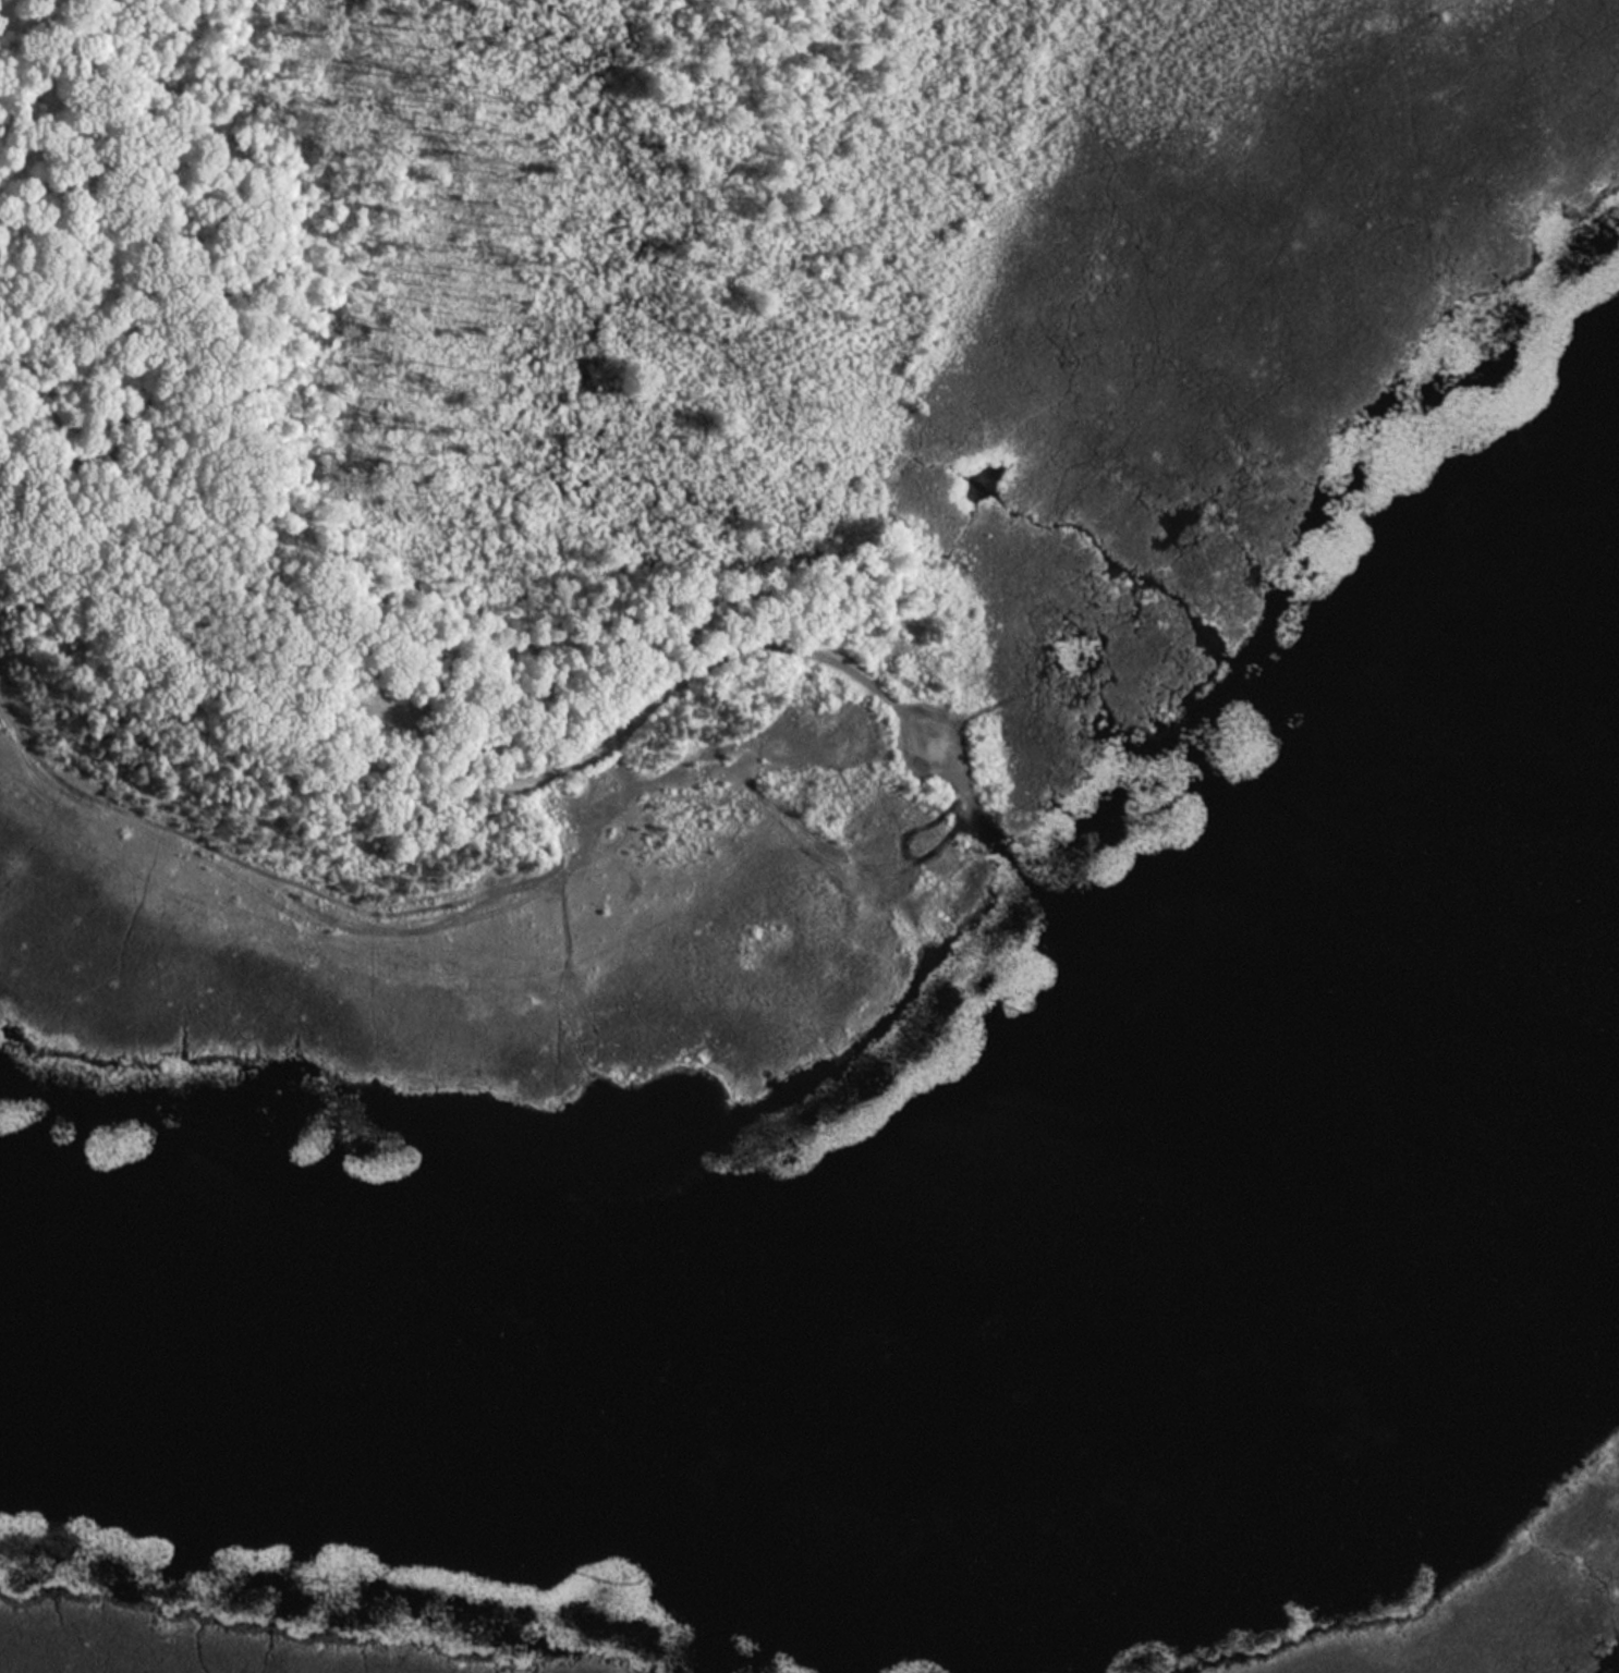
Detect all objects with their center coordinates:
parking lot: (933, 744)
road: (447, 752)
road: (962, 785)

